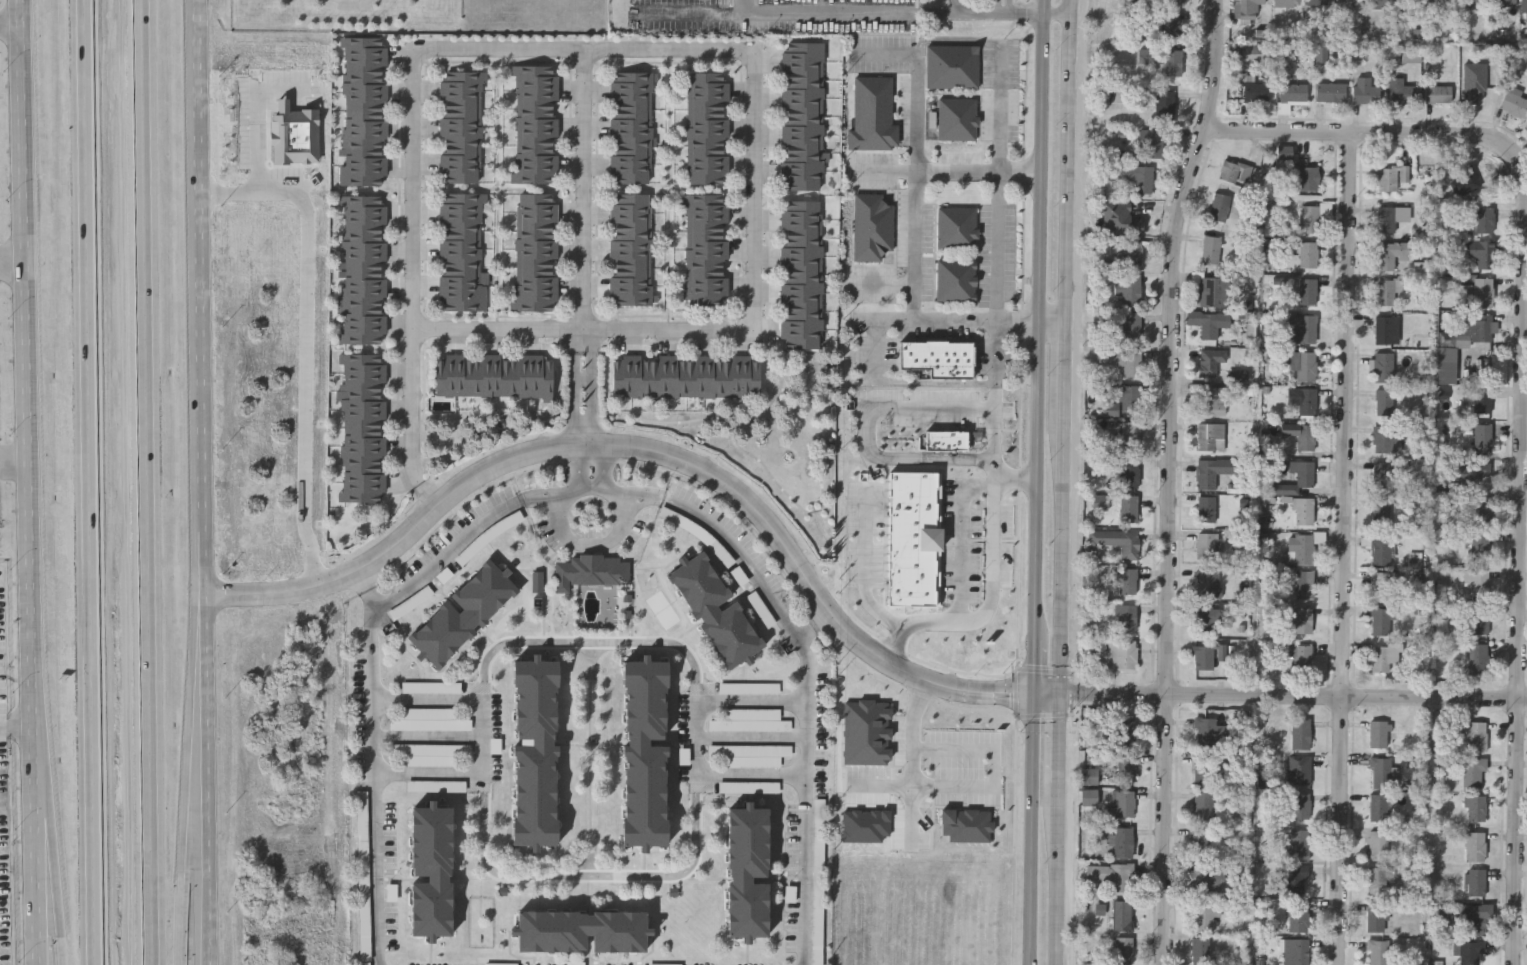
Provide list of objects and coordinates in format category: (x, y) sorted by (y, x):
parking lot: (989, 1)
building: (1317, 1)
building: (1348, 1)
building: (1379, 1)
building: (1172, 2)
building: (1286, 2)
building: (1409, 2)
building: (1473, 2)
building: (1504, 2)
building: (1441, 3)
road: (997, 5)
building: (1523, 5)
road: (954, 6)
road: (1011, 6)
road: (689, 11)
road: (822, 11)
road: (992, 12)
park: (346, 14)
building: (1172, 24)
road: (10, 25)
road: (951, 43)
road: (585, 49)
building: (802, 52)
building: (1257, 53)
building: (1410, 53)
road: (886, 55)
parking lot: (880, 57)
building: (1164, 59)
parking lot: (1001, 66)
building: (952, 69)
building: (802, 71)
building: (536, 75)
building: (461, 80)
building: (631, 81)
building: (708, 82)
building: (802, 89)
building: (1255, 89)
building: (1364, 90)
building: (1400, 90)
building: (1329, 91)
building: (1291, 93)
building: (1437, 93)
building: (536, 95)
building: (461, 99)
building: (631, 100)
building: (708, 100)
building: (1515, 101)
building: (1163, 103)
building: (802, 108)
building: (363, 110)
building: (536, 115)
building: (461, 118)
building: (630, 118)
building: (708, 119)
parking lot: (1000, 121)
building: (802, 126)
building: (956, 126)
building: (535, 134)
building: (460, 136)
building: (631, 137)
building: (708, 138)
building: (1153, 142)
road: (258, 144)
building: (802, 145)
building: (535, 154)
building: (460, 155)
building: (630, 155)
building: (708, 156)
road: (1069, 161)
building: (802, 163)
building: (1234, 171)
building: (535, 173)
road: (883, 173)
building: (460, 174)
building: (630, 174)
road: (981, 174)
building: (708, 175)
building: (1133, 175)
building: (1304, 176)
building: (1387, 178)
building: (1473, 180)
building: (802, 182)
parking lot: (872, 183)
road: (916, 186)
road: (756, 188)
building: (536, 203)
building: (630, 203)
building: (706, 203)
building: (1219, 205)
building: (801, 209)
road: (1000, 210)
building: (1309, 217)
building: (1387, 219)
building: (1484, 219)
building: (630, 221)
building: (706, 222)
building: (537, 223)
building: (872, 227)
building: (801, 228)
building: (957, 228)
parking lot: (902, 232)
building: (630, 240)
building: (706, 241)
building: (536, 242)
building: (801, 247)
building: (1210, 248)
road: (588, 249)
building: (1132, 250)
building: (462, 253)
building: (1390, 253)
building: (1482, 253)
parking lot: (929, 254)
building: (1308, 254)
parking lot: (998, 257)
building: (630, 258)
building: (706, 259)
road: (12, 261)
building: (536, 262)
building: (801, 265)
building: (364, 271)
building: (630, 277)
building: (706, 277)
building: (956, 281)
building: (535, 282)
building: (801, 284)
road: (414, 285)
parking lot: (871, 286)
road: (881, 286)
building: (1127, 290)
building: (1212, 290)
building: (1307, 290)
building: (1385, 291)
building: (1482, 291)
building: (630, 296)
building: (707, 296)
building: (536, 302)
building: (801, 303)
building: (801, 321)
road: (943, 324)
building: (1211, 324)
building: (1127, 326)
building: (1478, 326)
building: (1302, 328)
building: (1384, 328)
road: (584, 330)
road: (305, 338)
building: (801, 340)
road: (1041, 347)
building: (938, 358)
parking lot: (876, 359)
building: (1125, 359)
building: (1210, 360)
parking lot: (996, 362)
building: (1481, 362)
building: (1305, 365)
road: (1066, 366)
building: (1383, 366)
building: (493, 375)
building: (685, 375)
road: (939, 384)
building: (1130, 397)
building: (1482, 399)
building: (1211, 400)
building: (1305, 401)
building: (1384, 401)
road: (1522, 401)
road: (26, 407)
building: (363, 427)
road: (872, 429)
building: (1129, 434)
building: (1210, 436)
building: (1482, 436)
building: (1385, 438)
building: (947, 441)
road: (649, 453)
road: (14, 461)
road: (1018, 463)
road: (588, 467)
building: (1213, 470)
building: (1128, 472)
building: (1305, 472)
building: (1381, 474)
road: (1167, 479)
road: (90, 482)
road: (148, 482)
road: (206, 482)
building: (1129, 507)
building: (1205, 508)
building: (1303, 510)
building: (1481, 510)
building: (1381, 511)
building: (914, 538)
road: (964, 540)
building: (1116, 540)
building: (1205, 545)
building: (1478, 546)
building: (1304, 547)
building: (1379, 548)
road: (592, 549)
road: (1344, 549)
parking lot: (731, 552)
road: (1066, 552)
road: (993, 561)
road: (864, 567)
building: (592, 572)
building: (1128, 580)
building: (1477, 581)
building: (1207, 582)
building: (1304, 583)
building: (1382, 584)
building: (715, 610)
building: (762, 612)
building: (465, 614)
building: (1125, 617)
building: (1206, 617)
building: (1303, 619)
building: (1480, 619)
building: (1380, 621)
road: (592, 646)
building: (1122, 654)
building: (1383, 655)
building: (1201, 657)
building: (1300, 658)
building: (1478, 658)
road: (373, 662)
road: (808, 662)
building: (410, 689)
building: (730, 690)
traffic signals: (1037, 695)
road: (1052, 695)
traffic signals: (1067, 695)
road: (1297, 698)
building: (429, 723)
building: (751, 723)
road: (17, 727)
building: (1124, 731)
building: (1205, 732)
building: (1300, 734)
building: (1378, 734)
building: (1476, 735)
parking lot: (818, 737)
parking lot: (450, 738)
road: (700, 738)
road: (1066, 739)
road: (429, 740)
road: (484, 740)
parking lot: (733, 740)
road: (754, 740)
road: (583, 746)
building: (534, 756)
building: (643, 756)
building: (426, 757)
building: (751, 757)
road: (915, 761)
road: (592, 762)
building: (1126, 767)
road: (994, 769)
building: (1203, 769)
building: (1301, 769)
building: (1381, 771)
building: (1473, 771)
building: (1089, 775)
road: (189, 779)
building: (749, 789)
building: (1120, 803)
building: (1300, 805)
building: (1202, 806)
building: (1378, 806)
building: (1474, 807)
parking lot: (363, 813)
road: (1034, 830)
building: (363, 839)
building: (1118, 839)
parking lot: (389, 841)
building: (1202, 842)
building: (1298, 843)
building: (1378, 843)
building: (1475, 846)
building: (432, 871)
road: (1063, 874)
building: (746, 875)
building: (1110, 875)
building: (1204, 877)
road: (591, 878)
building: (1296, 879)
building: (1377, 879)
parking lot: (806, 880)
building: (1475, 881)
building: (818, 883)
road: (38, 889)
road: (50, 889)
building: (1204, 914)
building: (1122, 915)
building: (1376, 915)
building: (1296, 916)
parking lot: (391, 918)
building: (1473, 919)
building: (582, 932)
building: (1122, 950)
building: (1200, 950)
building: (1297, 950)
building: (1378, 952)
building: (1470, 953)
parking lot: (449, 964)

